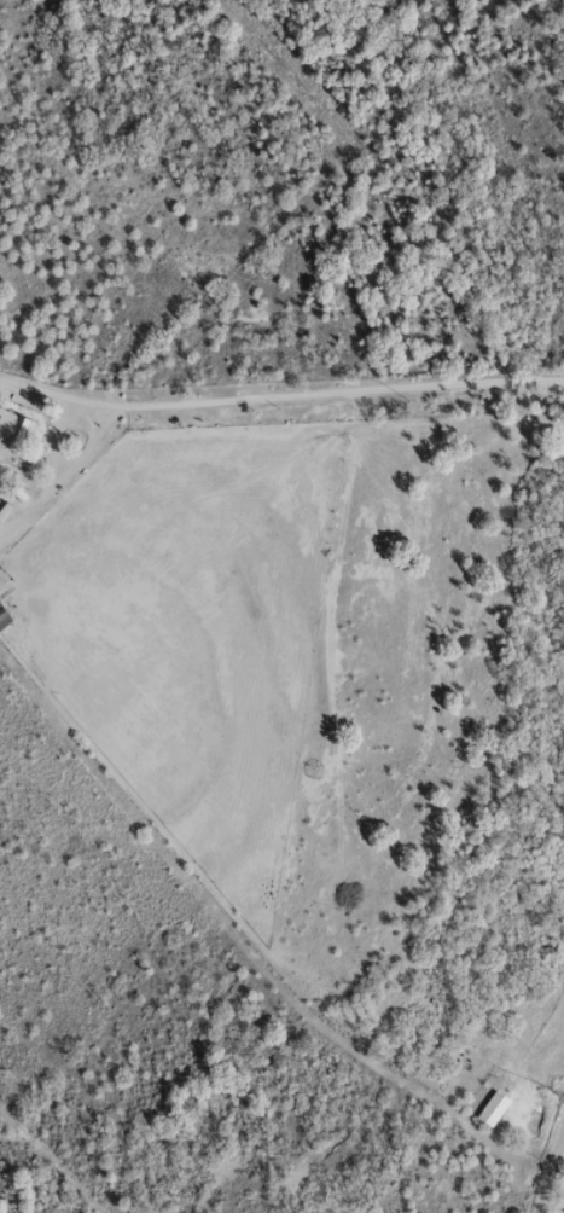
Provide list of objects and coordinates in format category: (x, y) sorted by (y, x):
road: (283, 405)
building: (13, 429)
building: (492, 1108)
road: (539, 1125)

